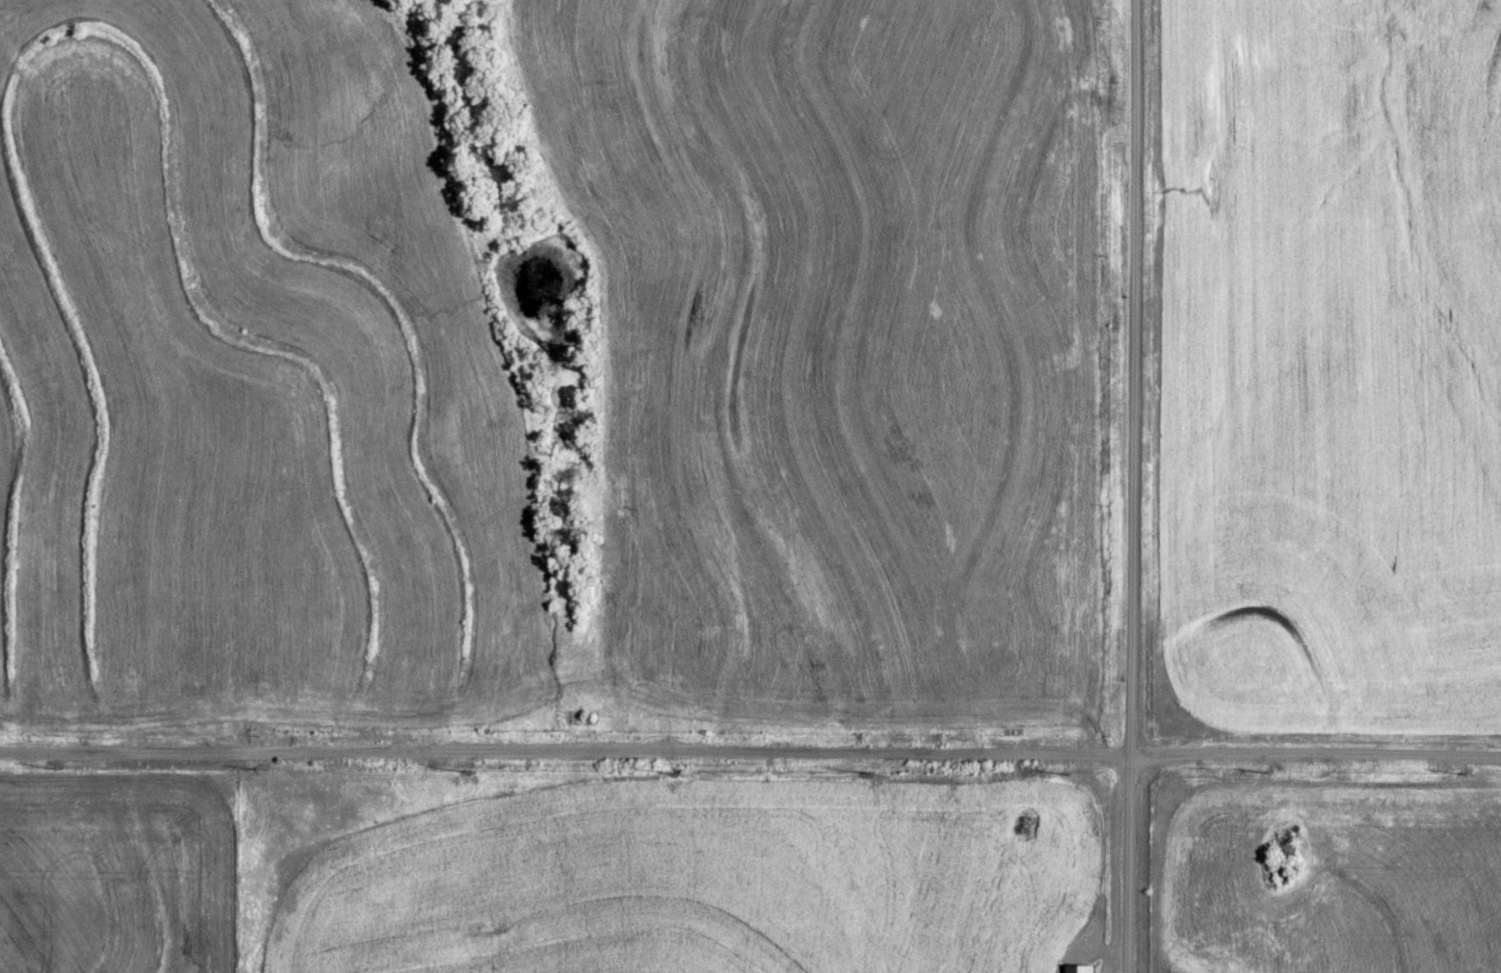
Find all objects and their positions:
road: (1130, 486)
road: (750, 746)
building: (1078, 967)

